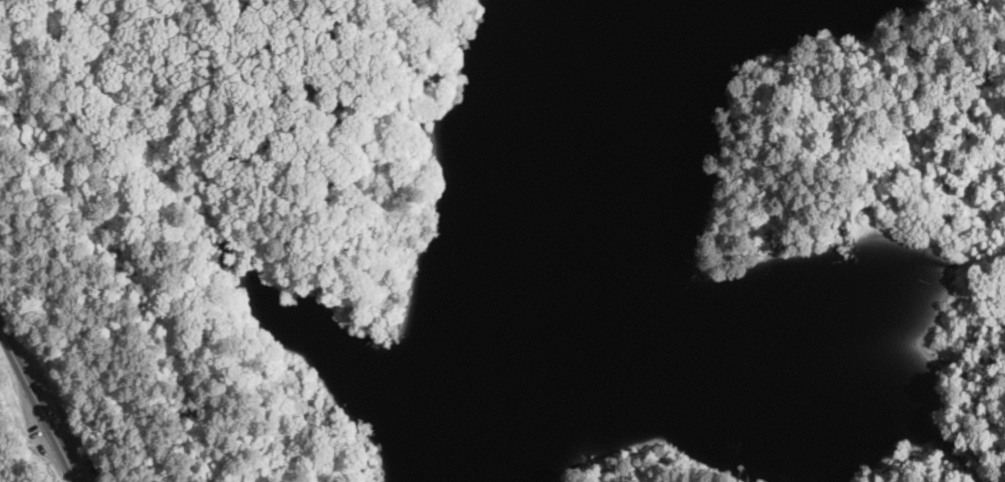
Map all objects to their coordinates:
road: (205, 161)
park: (218, 216)
road: (40, 403)

